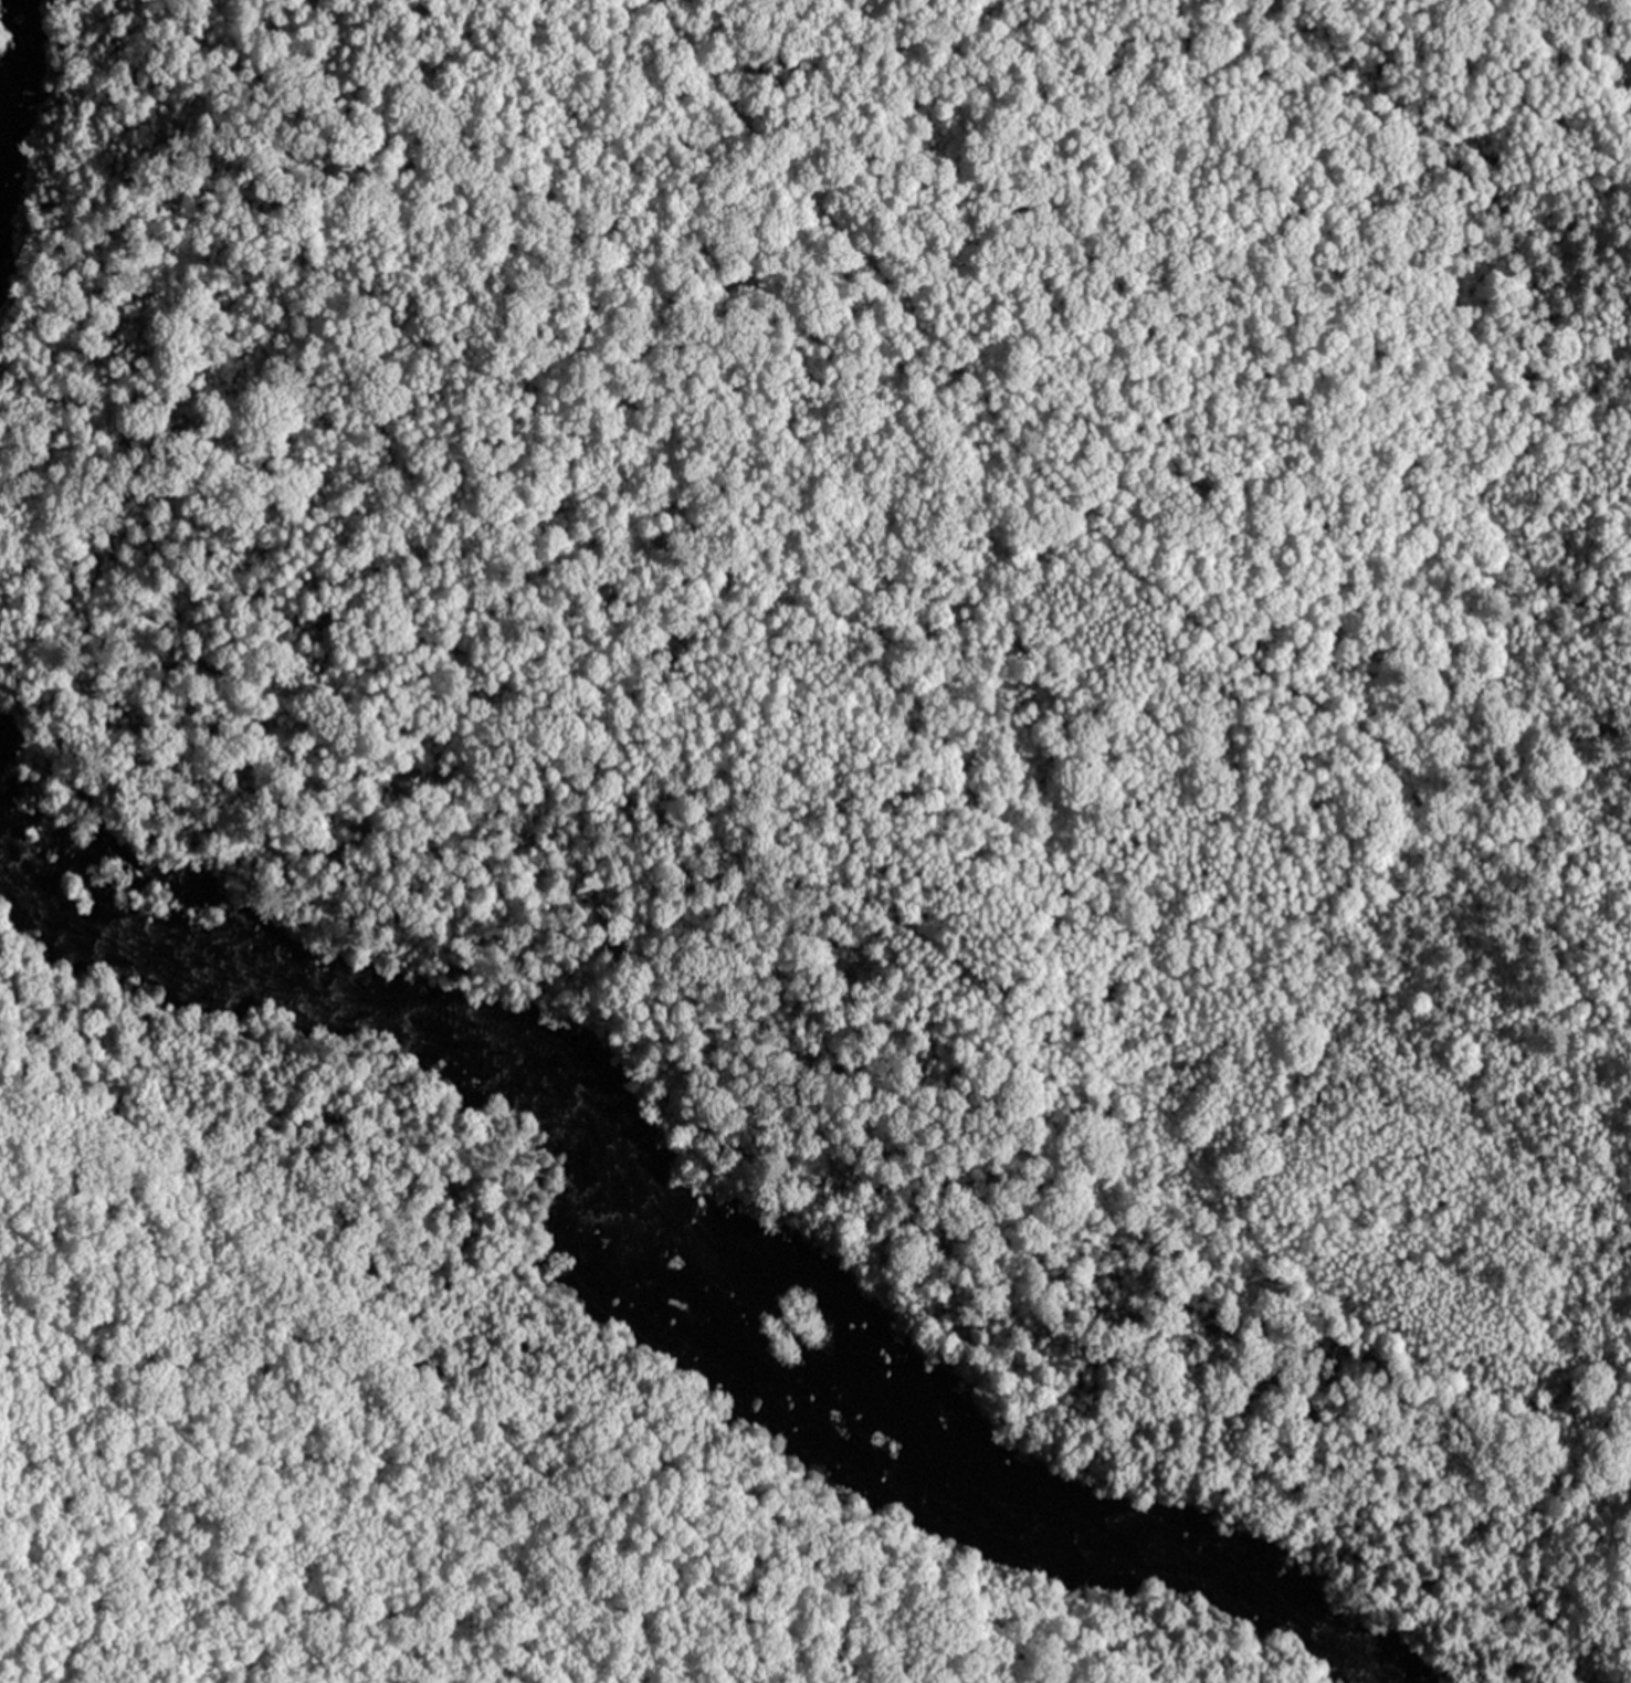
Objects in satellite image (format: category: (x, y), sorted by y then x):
road: (1114, 549)
river: (654, 1197)
river: (1338, 1627)

